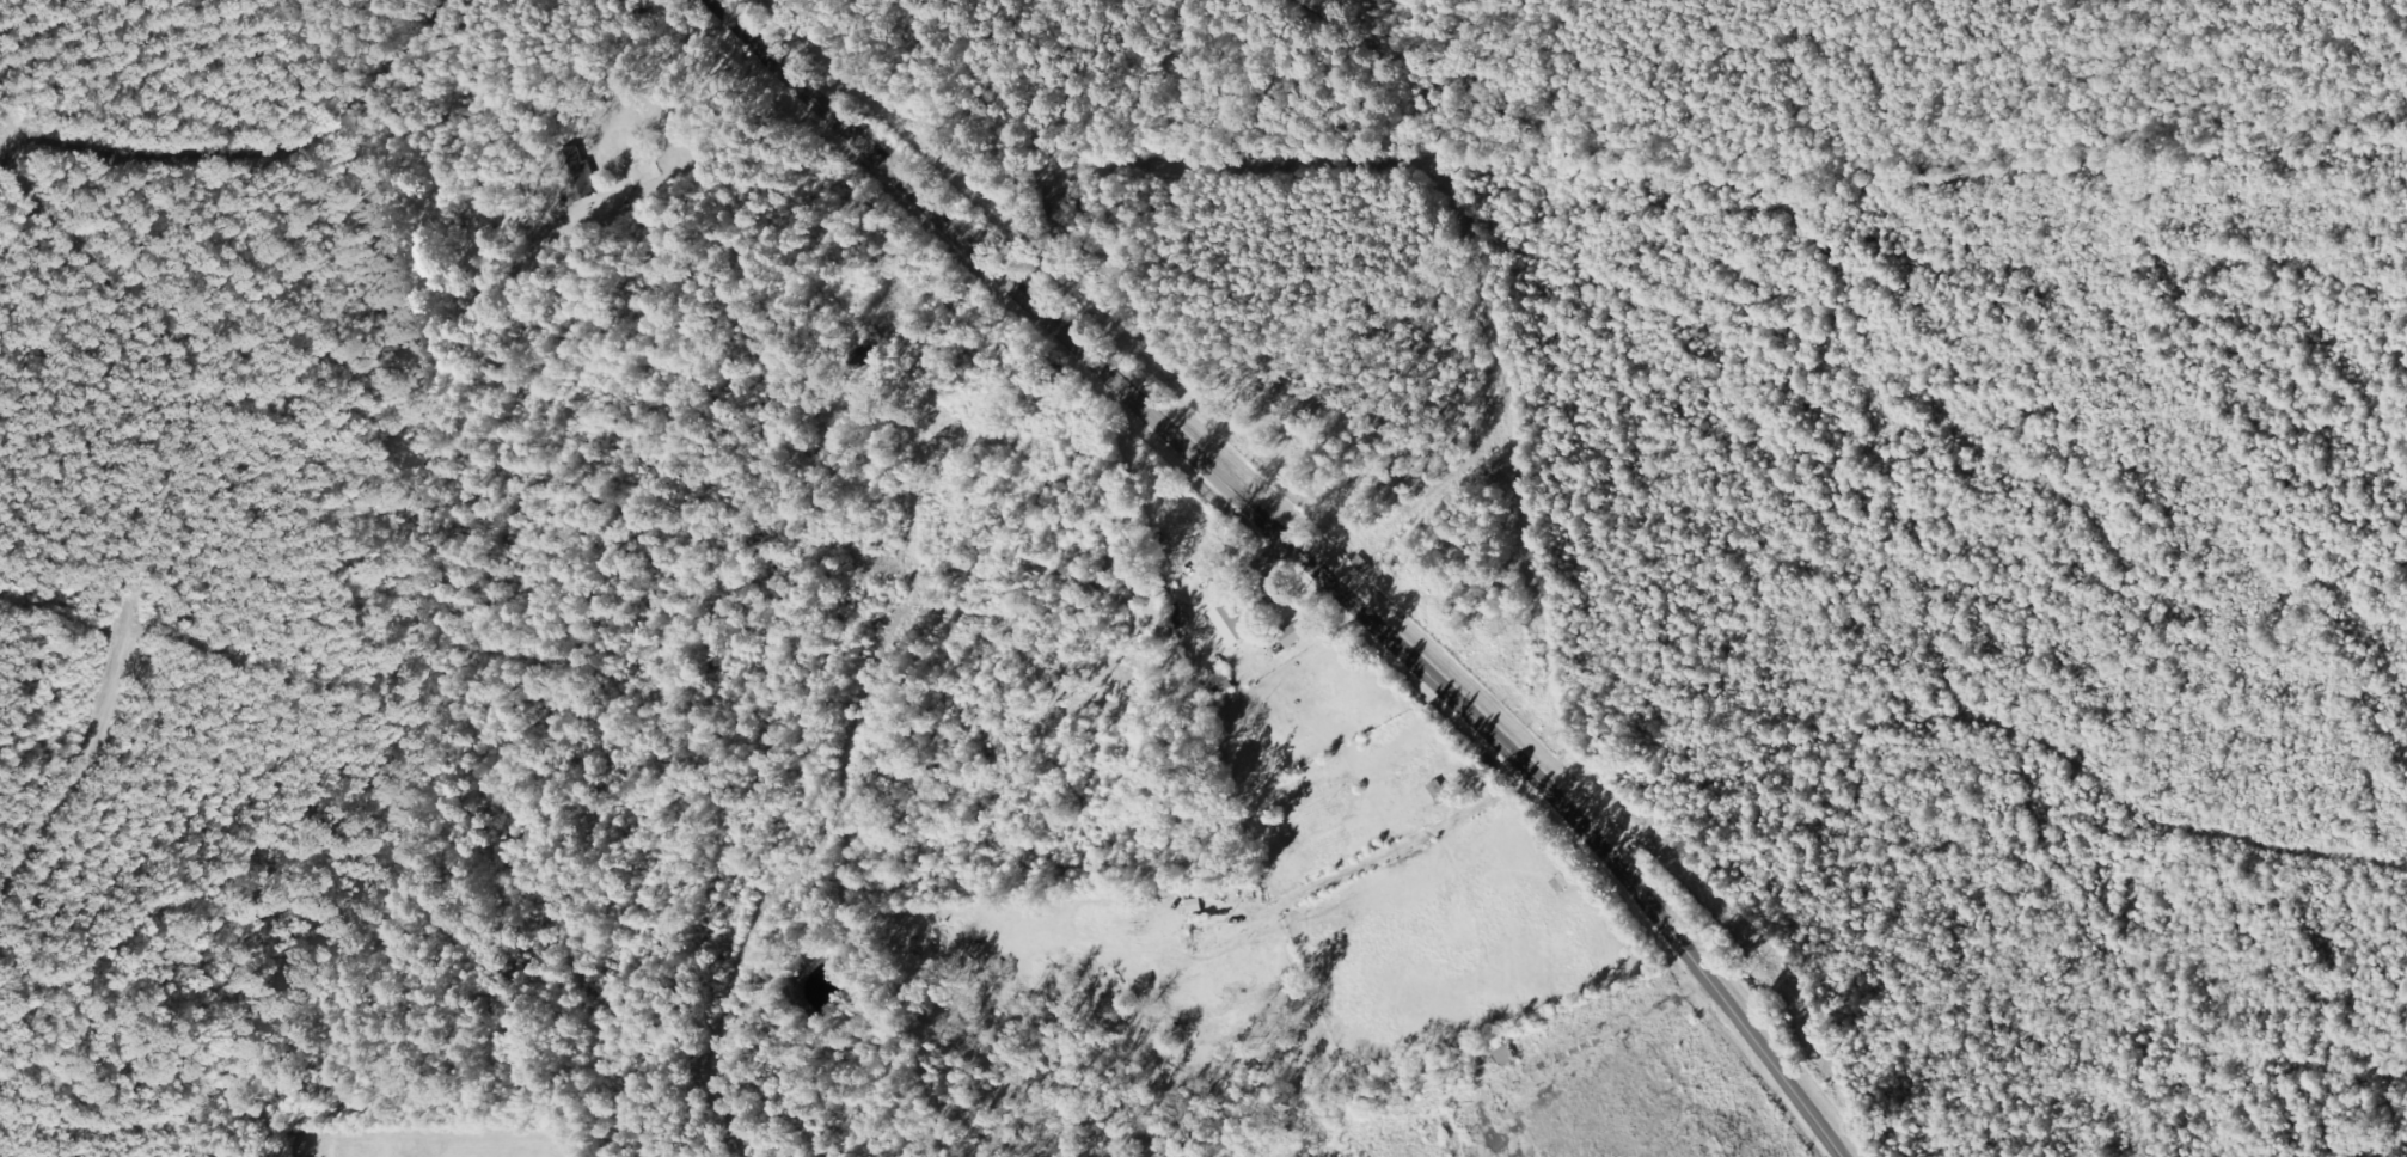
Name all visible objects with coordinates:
road: (212, 129)
building: (583, 171)
road: (1299, 553)
building: (1232, 625)
building: (1296, 636)
building: (1224, 685)

